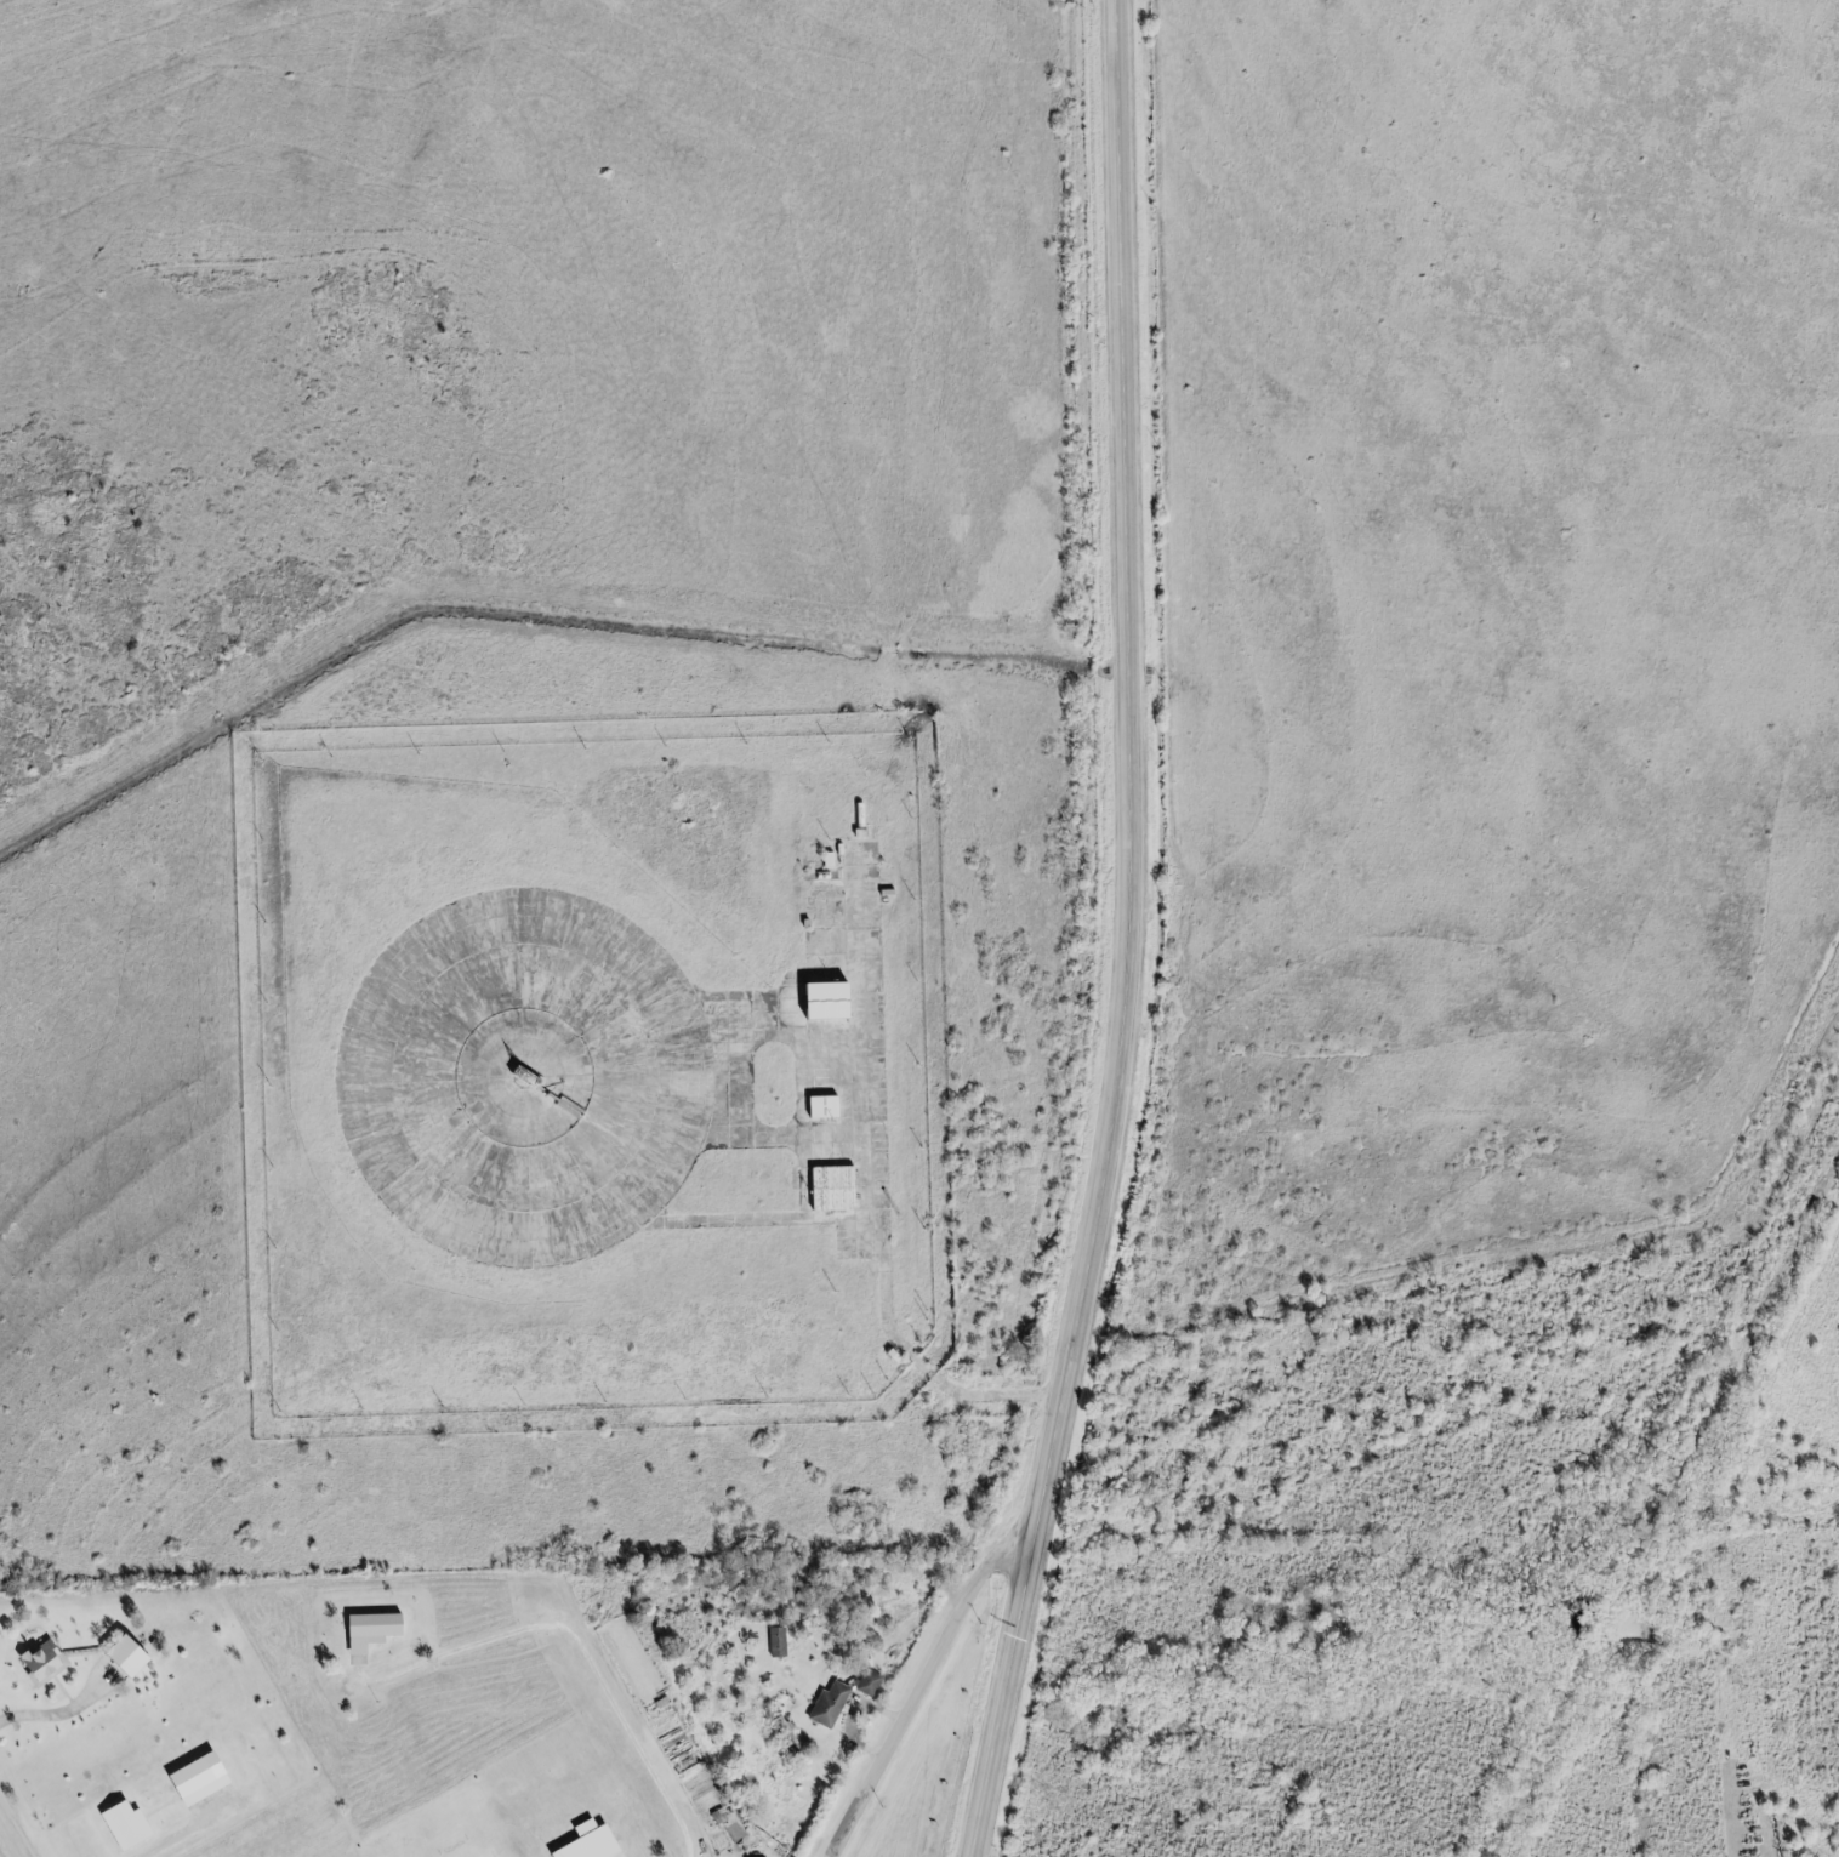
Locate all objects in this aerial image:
road: (1126, 935)
building: (821, 1002)
road: (782, 1029)
helipad: (514, 1077)
building: (818, 1107)
road: (785, 1134)
building: (825, 1189)
road: (762, 1219)
road: (882, 1226)
railway: (1661, 1513)
road: (941, 1630)
building: (363, 1633)
building: (774, 1642)
road: (580, 1652)
building: (136, 1653)
building: (46, 1662)
building: (839, 1691)
road: (18, 1823)

